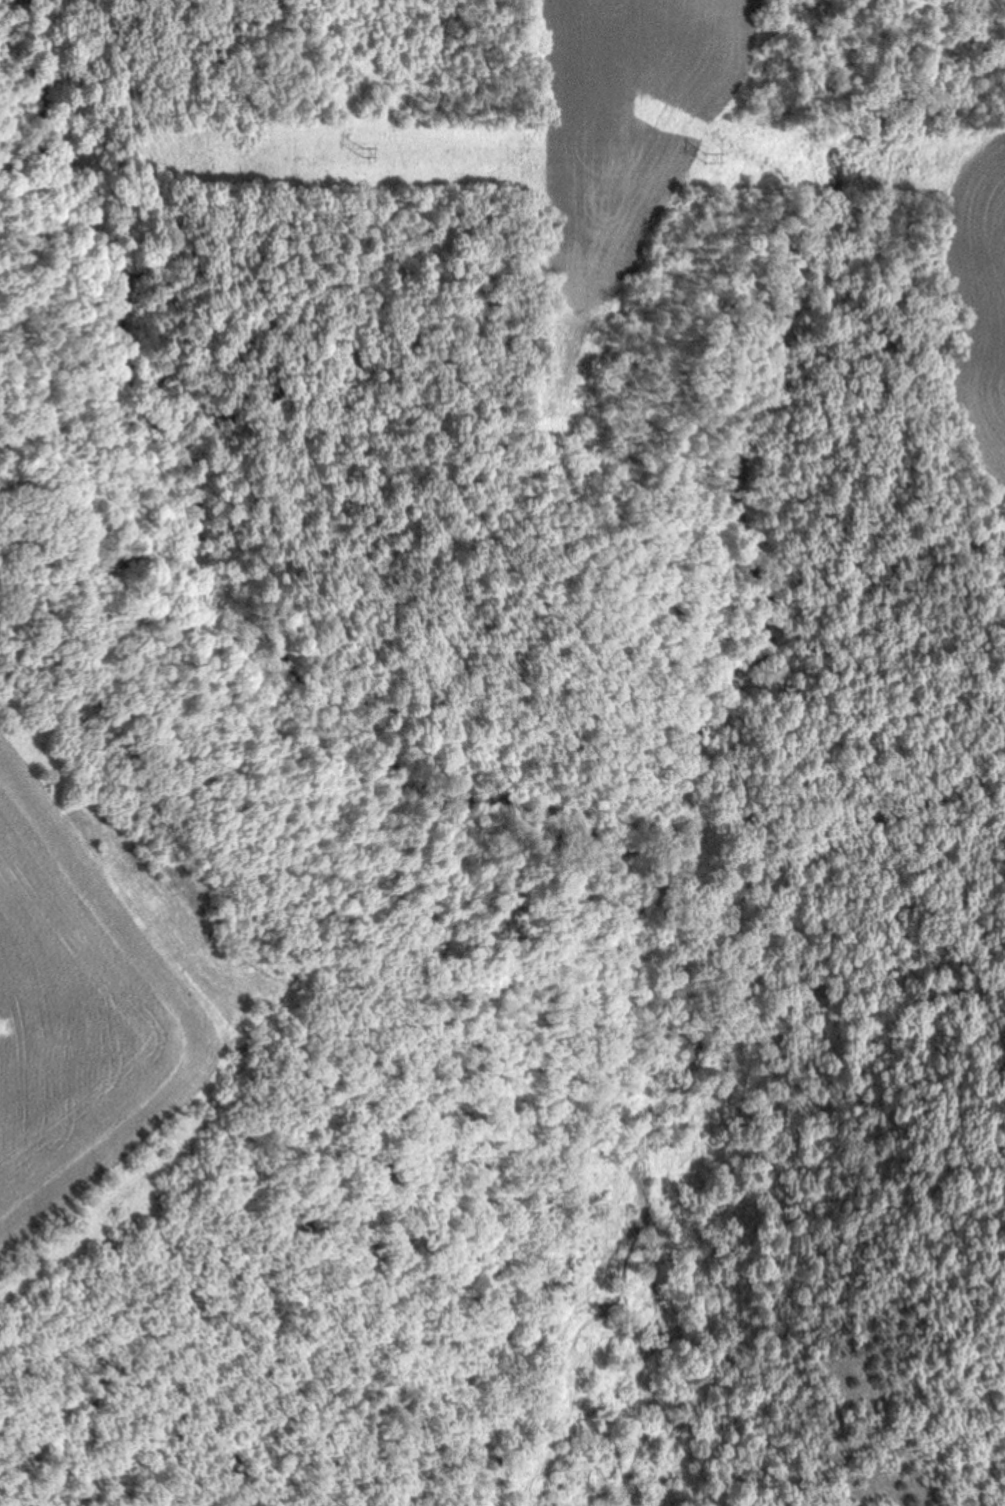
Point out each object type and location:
power tower: (364, 153)
power tower: (702, 159)

